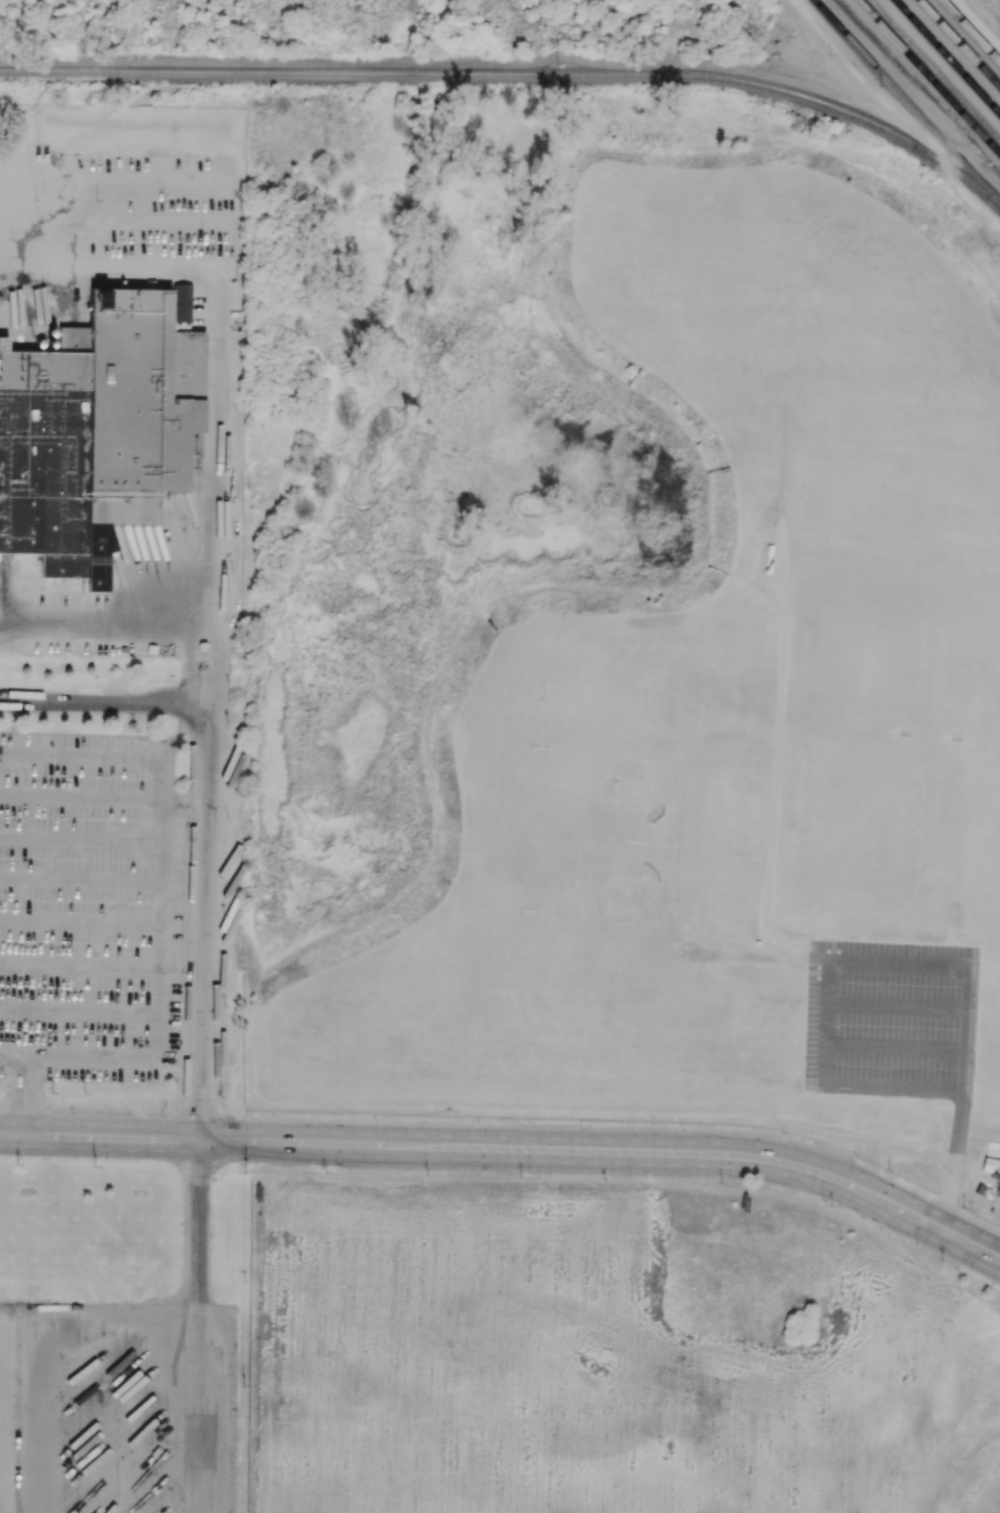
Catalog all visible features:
railway: (970, 32)
railway: (960, 43)
railway: (947, 57)
railway: (935, 69)
railway: (516, 75)
railway: (929, 77)
railway: (907, 100)
park: (690, 275)
park: (887, 316)
road: (211, 349)
building: (97, 433)
road: (782, 449)
park: (903, 463)
road: (854, 557)
road: (106, 633)
road: (205, 634)
road: (783, 639)
building: (203, 644)
park: (898, 647)
road: (203, 694)
park: (732, 710)
road: (843, 733)
road: (103, 756)
park: (633, 786)
road: (773, 793)
road: (82, 797)
road: (183, 800)
park: (721, 804)
road: (678, 810)
park: (532, 822)
park: (848, 822)
road: (200, 828)
park: (934, 828)
road: (82, 837)
road: (650, 845)
park: (994, 845)
road: (722, 853)
road: (672, 873)
road: (81, 877)
park: (715, 891)
park: (625, 904)
parking lot: (90, 906)
road: (81, 919)
road: (766, 924)
road: (80, 963)
road: (893, 965)
park: (451, 969)
park: (592, 972)
road: (160, 992)
park: (739, 1000)
park: (993, 1000)
road: (891, 1006)
road: (80, 1008)
parking lot: (889, 1020)
road: (813, 1023)
road: (967, 1030)
park: (586, 1046)
road: (889, 1047)
road: (14, 1052)
park: (735, 1056)
road: (887, 1088)
road: (26, 1100)
road: (510, 1139)
road: (512, 1161)
road: (953, 1165)
building: (990, 1166)
road: (979, 1283)
road: (195, 1333)
parking lot: (117, 1407)

